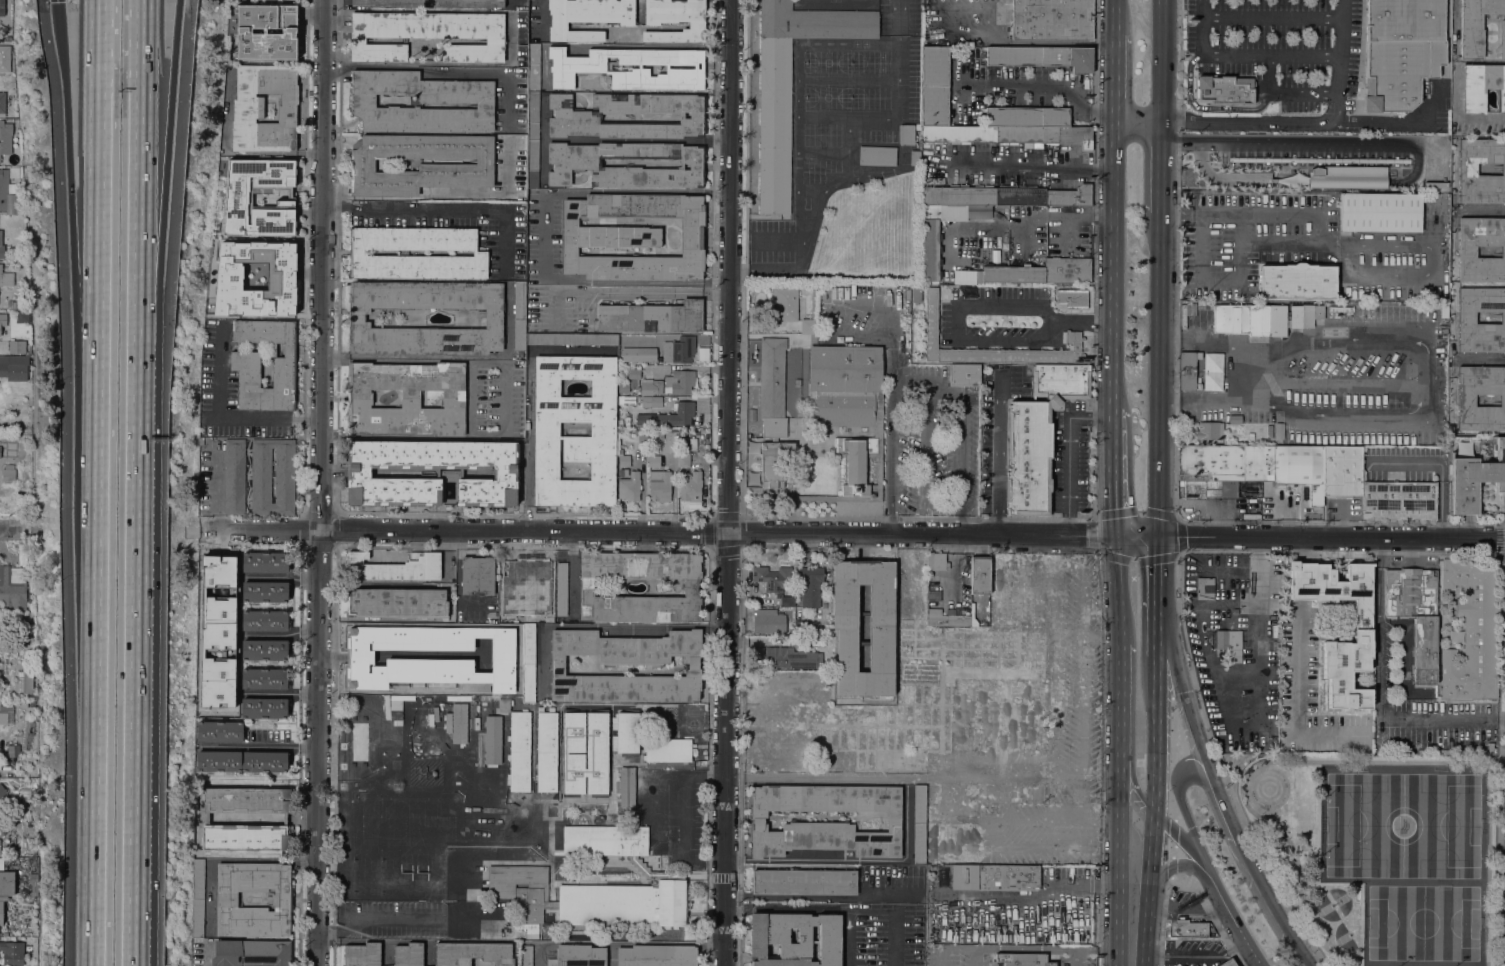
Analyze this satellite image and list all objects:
building: (232, 0)
parking lot: (232, 0)
road: (60, 1)
traffic signals: (61, 2)
building: (429, 3)
building: (2, 8)
road: (1117, 16)
building: (587, 17)
road: (900, 18)
road: (1271, 18)
building: (675, 20)
building: (1052, 20)
building: (1403, 20)
building: (1478, 26)
road: (1203, 28)
road: (176, 29)
building: (266, 32)
building: (427, 35)
road: (508, 37)
road: (139, 45)
parking lot: (1279, 47)
building: (1041, 57)
road: (1270, 57)
road: (1160, 60)
road: (1339, 61)
building: (0, 63)
building: (577, 68)
building: (1398, 72)
road: (442, 74)
road: (100, 75)
road: (1115, 76)
building: (789, 85)
road: (1051, 85)
building: (934, 86)
building: (1482, 86)
building: (1225, 90)
road: (1284, 94)
road: (66, 95)
building: (2, 102)
building: (420, 102)
road: (1206, 108)
building: (248, 112)
building: (533, 114)
building: (628, 116)
building: (1026, 117)
road: (1137, 120)
road: (1301, 122)
building: (917, 127)
building: (906, 135)
building: (1007, 135)
building: (5, 137)
road: (1294, 142)
building: (877, 156)
building: (914, 158)
building: (628, 164)
road: (1160, 166)
building: (455, 167)
road: (1034, 168)
building: (1467, 169)
building: (14, 172)
road: (848, 172)
building: (1346, 176)
road: (1234, 179)
road: (596, 191)
road: (335, 193)
road: (384, 193)
road: (492, 193)
building: (7, 195)
building: (238, 195)
building: (1004, 196)
road: (446, 209)
building: (978, 211)
road: (99, 212)
building: (1380, 212)
road: (84, 231)
building: (936, 234)
building: (632, 237)
parking lot: (1302, 244)
building: (1, 248)
road: (1112, 250)
building: (1466, 251)
building: (357, 253)
road: (164, 254)
road: (1346, 257)
road: (141, 270)
building: (1042, 272)
building: (6, 278)
building: (254, 278)
road: (1206, 278)
building: (1297, 281)
road: (629, 292)
building: (827, 292)
building: (1198, 302)
building: (783, 305)
road: (967, 308)
building: (1186, 313)
building: (1445, 313)
building: (519, 314)
building: (23, 316)
building: (650, 317)
building: (1263, 318)
building: (1466, 318)
building: (491, 319)
building: (3, 320)
building: (1001, 324)
building: (807, 326)
building: (571, 338)
building: (666, 338)
building: (17, 347)
building: (678, 350)
building: (638, 354)
building: (244, 363)
building: (14, 367)
building: (1187, 371)
building: (1212, 372)
road: (1158, 373)
building: (964, 375)
road: (1250, 376)
road: (1424, 377)
building: (680, 382)
building: (633, 384)
building: (844, 384)
road: (98, 386)
building: (650, 387)
building: (772, 388)
road: (926, 392)
building: (405, 398)
road: (528, 398)
road: (505, 399)
building: (1465, 400)
building: (651, 402)
building: (669, 415)
road: (224, 416)
building: (1235, 419)
road: (1176, 422)
building: (602, 429)
building: (1209, 430)
building: (1279, 431)
building: (1037, 436)
building: (642, 438)
building: (3, 451)
road: (998, 452)
road: (727, 454)
road: (1068, 454)
building: (687, 455)
road: (1111, 459)
building: (623, 460)
building: (653, 460)
building: (851, 466)
building: (1255, 466)
building: (27, 468)
building: (622, 472)
building: (8, 474)
building: (449, 474)
building: (261, 475)
building: (234, 476)
building: (1474, 479)
road: (320, 482)
building: (659, 485)
building: (628, 487)
building: (690, 487)
building: (1399, 500)
road: (771, 501)
building: (621, 508)
traffic signals: (1113, 509)
road: (918, 518)
road: (142, 522)
road: (11, 525)
road: (658, 533)
road: (1309, 538)
road: (1053, 545)
road: (1303, 550)
building: (937, 561)
building: (264, 562)
traffic signals: (1157, 563)
building: (395, 567)
building: (509, 569)
road: (571, 573)
building: (477, 575)
building: (979, 576)
building: (537, 581)
road: (1303, 581)
building: (775, 582)
building: (809, 585)
building: (586, 587)
building: (12, 588)
building: (1204, 588)
building: (561, 589)
building: (264, 592)
road: (1156, 595)
building: (511, 600)
building: (397, 603)
road: (1227, 603)
building: (1415, 615)
building: (537, 616)
building: (8, 619)
building: (946, 619)
building: (264, 620)
building: (768, 622)
building: (844, 622)
road: (598, 626)
building: (802, 628)
building: (1473, 629)
road: (1116, 635)
building: (1361, 635)
building: (1263, 636)
building: (799, 642)
building: (1227, 644)
building: (264, 650)
building: (789, 658)
building: (3, 661)
building: (429, 662)
building: (528, 663)
building: (557, 667)
building: (264, 679)
building: (27, 682)
road: (1298, 701)
building: (398, 703)
building: (504, 705)
road: (1132, 706)
building: (263, 708)
building: (1270, 713)
building: (3, 718)
building: (414, 723)
building: (441, 723)
building: (459, 723)
road: (1250, 731)
road: (95, 732)
building: (219, 732)
road: (1155, 732)
building: (627, 733)
building: (492, 740)
building: (668, 750)
road: (1120, 750)
building: (519, 752)
building: (546, 752)
building: (585, 753)
road: (741, 757)
building: (217, 761)
building: (264, 762)
building: (1255, 765)
road: (1195, 768)
road: (824, 776)
road: (137, 780)
building: (626, 786)
road: (1216, 787)
building: (2, 796)
park: (1428, 806)
road: (685, 811)
road: (651, 814)
building: (284, 819)
building: (803, 822)
building: (919, 824)
park: (1344, 824)
road: (1110, 826)
road: (1153, 832)
road: (1181, 837)
park: (1379, 850)
building: (1, 864)
park: (1428, 871)
building: (664, 877)
building: (941, 877)
building: (994, 878)
building: (803, 881)
road: (1207, 882)
building: (7, 883)
building: (33, 883)
building: (520, 888)
road: (1048, 895)
building: (197, 899)
building: (226, 899)
park: (1342, 899)
parking lot: (1183, 903)
building: (550, 904)
road: (1172, 906)
park: (1326, 908)
road: (755, 909)
road: (867, 910)
road: (1147, 910)
building: (1, 913)
road: (1234, 914)
road: (395, 918)
building: (1185, 929)
park: (1427, 936)
road: (724, 937)
park: (1343, 937)
building: (795, 939)
road: (1230, 951)
building: (12, 952)
building: (251, 953)
building: (472, 953)
building: (362, 954)
building: (408, 954)
building: (657, 955)
road: (206, 956)
building: (526, 956)
building: (578, 956)
road: (1179, 956)
road: (938, 959)
road: (973, 959)
building: (1022, 960)
road: (1076, 960)
building: (1227, 963)

